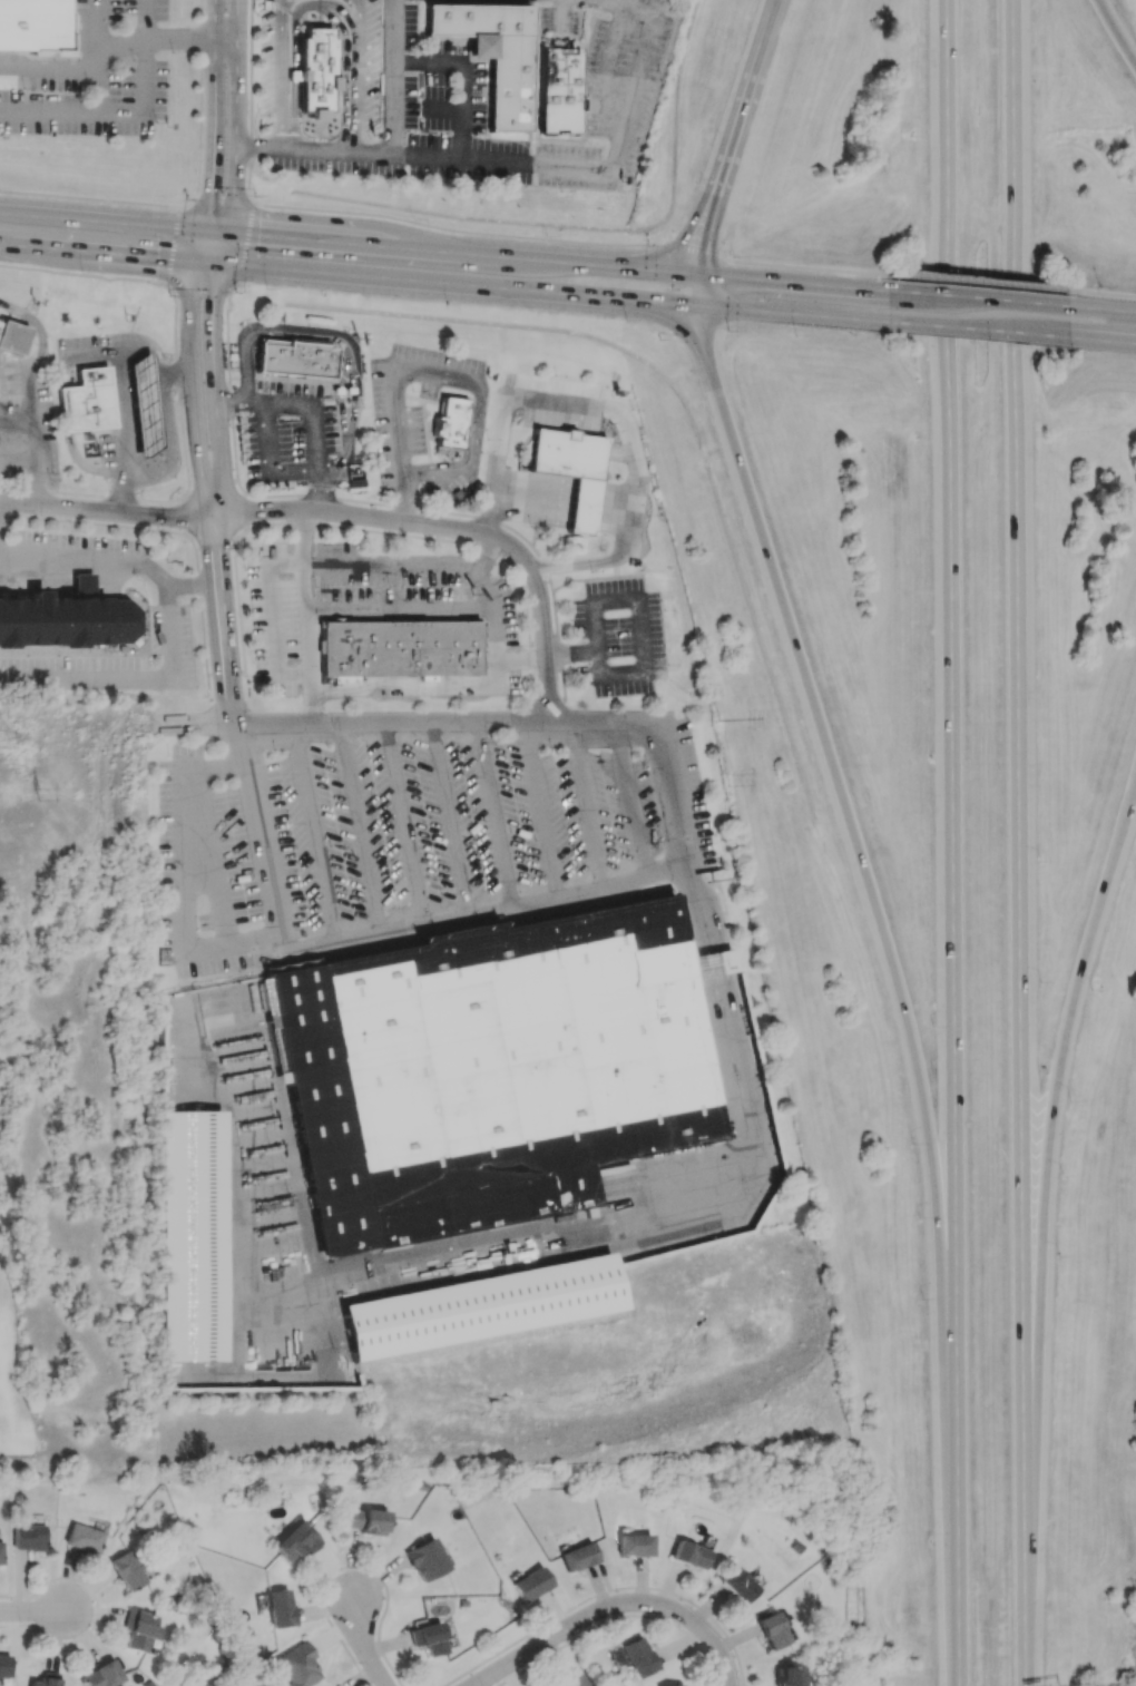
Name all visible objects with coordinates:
road: (342, 4)
road: (297, 9)
road: (561, 16)
road: (214, 20)
road: (237, 20)
building: (33, 24)
building: (72, 29)
road: (91, 31)
road: (1116, 32)
road: (225, 41)
building: (493, 53)
road: (107, 56)
road: (249, 65)
parking lot: (366, 65)
parking lot: (272, 68)
building: (317, 69)
road: (399, 76)
road: (236, 77)
road: (461, 77)
road: (607, 77)
parking lot: (91, 78)
road: (98, 86)
building: (559, 90)
parking lot: (505, 92)
road: (199, 99)
road: (740, 101)
road: (443, 106)
road: (129, 112)
road: (213, 136)
road: (248, 146)
road: (264, 148)
road: (323, 148)
road: (375, 150)
road: (613, 167)
road: (234, 173)
road: (247, 183)
road: (89, 198)
road: (101, 222)
road: (418, 227)
traffic signals: (204, 232)
traffic signals: (226, 234)
road: (698, 238)
road: (172, 244)
road: (236, 245)
road: (666, 248)
road: (688, 249)
road: (97, 253)
road: (537, 261)
traffic signals: (196, 262)
traffic signals: (217, 264)
road: (794, 267)
road: (84, 275)
traffic signals: (695, 275)
road: (696, 282)
road: (978, 282)
road: (447, 283)
road: (166, 285)
road: (197, 290)
road: (1109, 294)
road: (697, 297)
road: (977, 298)
traffic signals: (698, 306)
road: (1108, 310)
road: (784, 314)
road: (679, 324)
road: (975, 330)
road: (40, 331)
building: (11, 336)
road: (1107, 341)
road: (706, 344)
road: (342, 350)
building: (294, 359)
road: (190, 373)
road: (213, 373)
road: (430, 373)
road: (278, 378)
road: (227, 390)
road: (246, 391)
road: (32, 394)
building: (87, 401)
building: (143, 403)
road: (127, 410)
road: (610, 410)
parking lot: (27, 422)
building: (451, 422)
parking lot: (288, 432)
road: (313, 438)
road: (36, 450)
road: (18, 462)
road: (270, 462)
building: (571, 470)
road: (186, 482)
road: (213, 492)
road: (106, 511)
road: (244, 511)
road: (482, 518)
road: (96, 522)
road: (452, 530)
road: (242, 535)
road: (215, 538)
road: (459, 541)
road: (215, 550)
road: (488, 551)
road: (111, 562)
road: (389, 563)
road: (595, 577)
building: (81, 584)
road: (199, 589)
parking lot: (354, 596)
road: (238, 606)
road: (423, 611)
road: (304, 618)
road: (273, 619)
building: (69, 620)
parking lot: (165, 621)
parking lot: (618, 638)
building: (400, 648)
road: (226, 654)
road: (522, 657)
road: (643, 670)
road: (130, 675)
road: (414, 690)
road: (311, 698)
power tower: (717, 708)
road: (447, 721)
power tower: (1, 731)
power tower: (724, 778)
power tower: (40, 797)
road: (674, 797)
road: (631, 798)
road: (838, 800)
road: (586, 802)
road: (539, 807)
road: (497, 813)
road: (451, 819)
building: (472, 823)
road: (405, 824)
road: (361, 831)
parking lot: (408, 831)
road: (205, 832)
building: (528, 832)
road: (312, 835)
road: (259, 841)
road: (952, 843)
road: (1020, 843)
building: (241, 878)
road: (183, 904)
road: (487, 912)
building: (716, 962)
road: (1079, 994)
building: (488, 1069)
road: (505, 1233)
building: (193, 1237)
building: (479, 1306)
building: (365, 1521)
building: (28, 1537)
building: (84, 1538)
building: (294, 1542)
building: (634, 1545)
building: (1, 1552)
building: (688, 1555)
building: (577, 1556)
building: (424, 1559)
building: (128, 1570)
building: (530, 1584)
building: (736, 1585)
road: (628, 1606)
building: (278, 1608)
road: (36, 1615)
building: (140, 1629)
building: (771, 1630)
building: (428, 1638)
road: (365, 1647)
building: (638, 1657)
building: (4, 1665)
building: (297, 1666)
building: (101, 1675)
building: (785, 1676)
road: (490, 1679)
building: (43, 1682)
building: (571, 1682)
building: (673, 1685)

